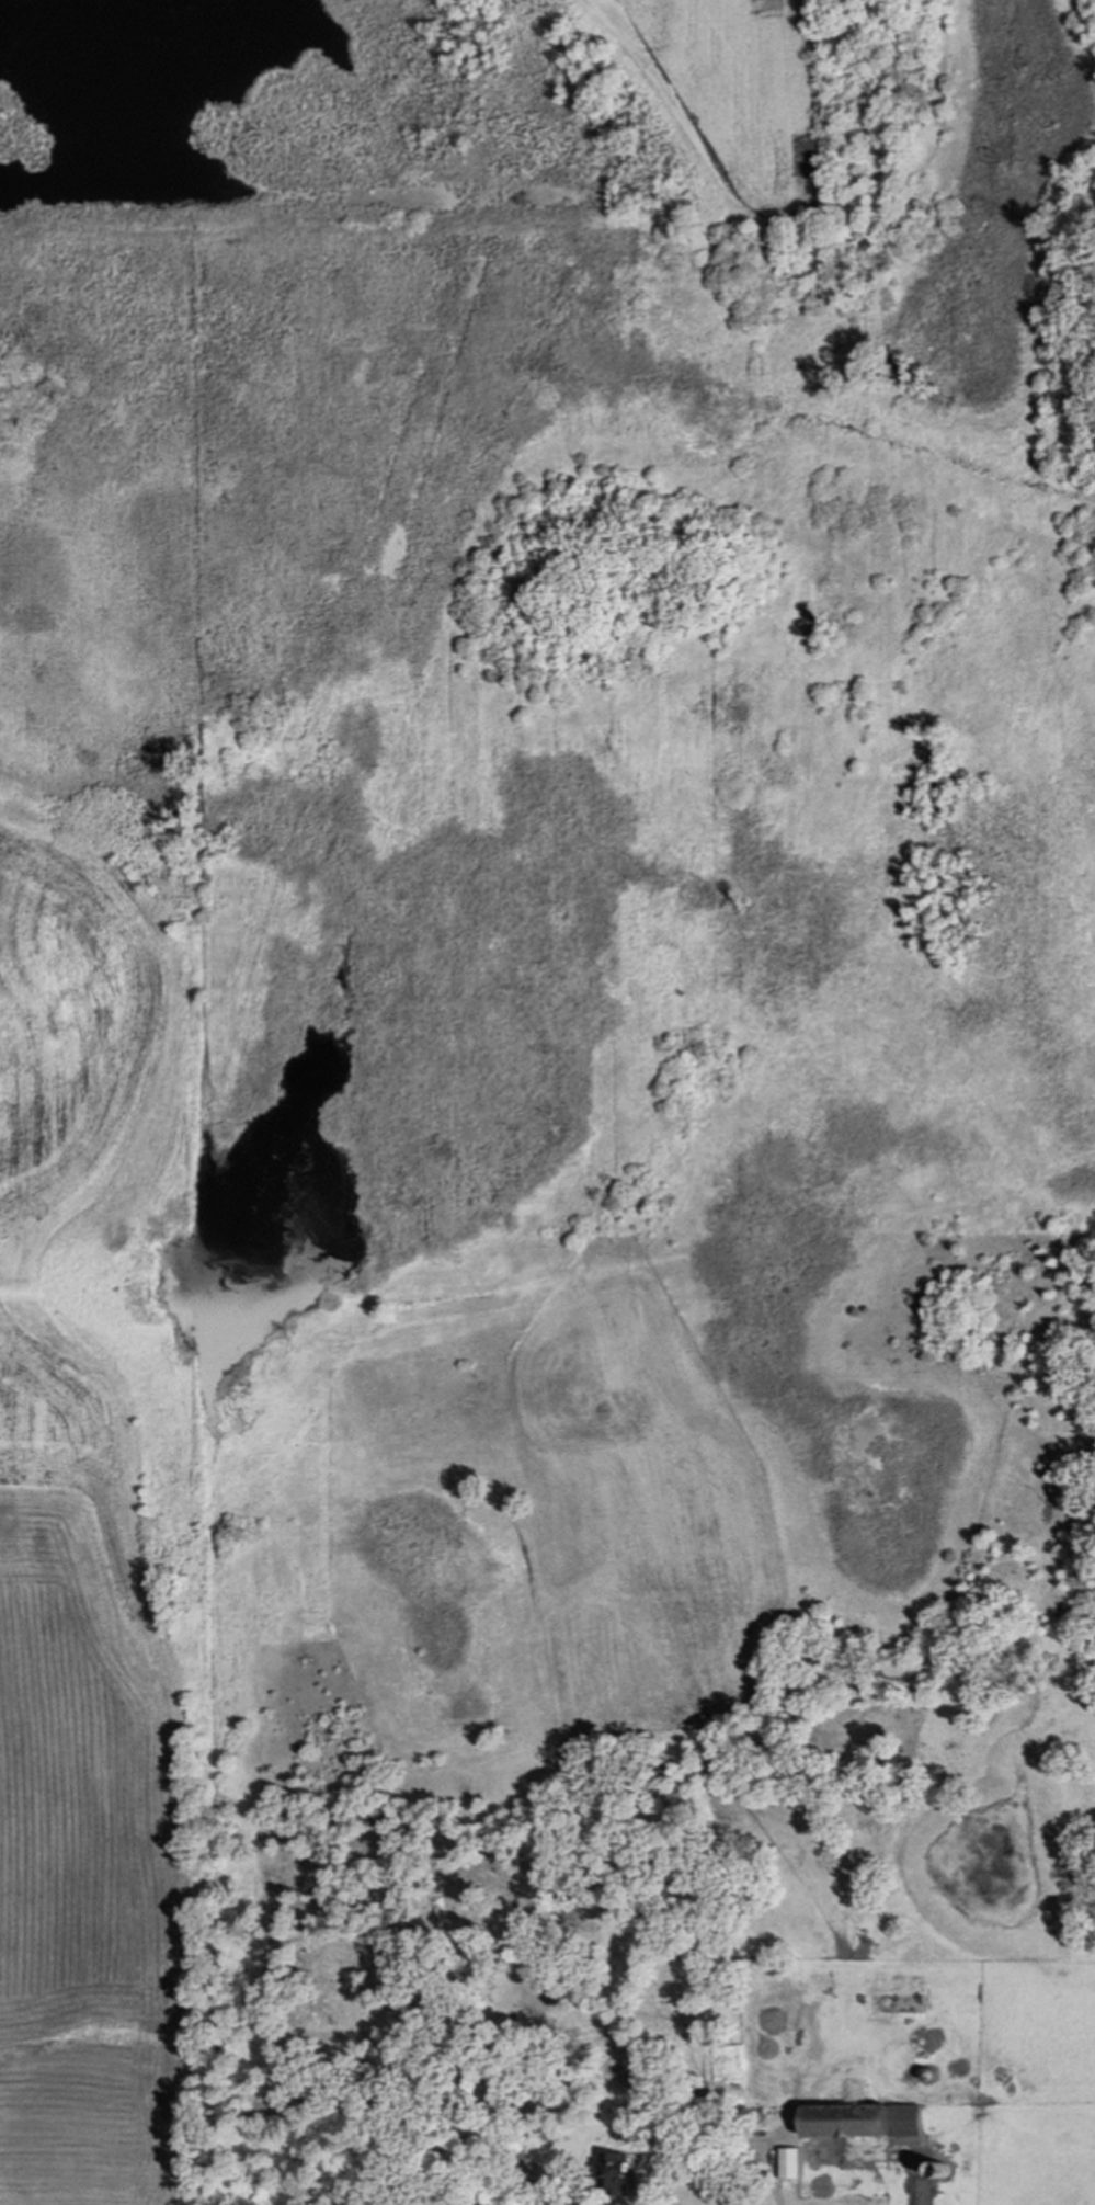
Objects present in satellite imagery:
building: (864, 2124)
road: (721, 2151)
building: (791, 2162)
building: (626, 2173)

